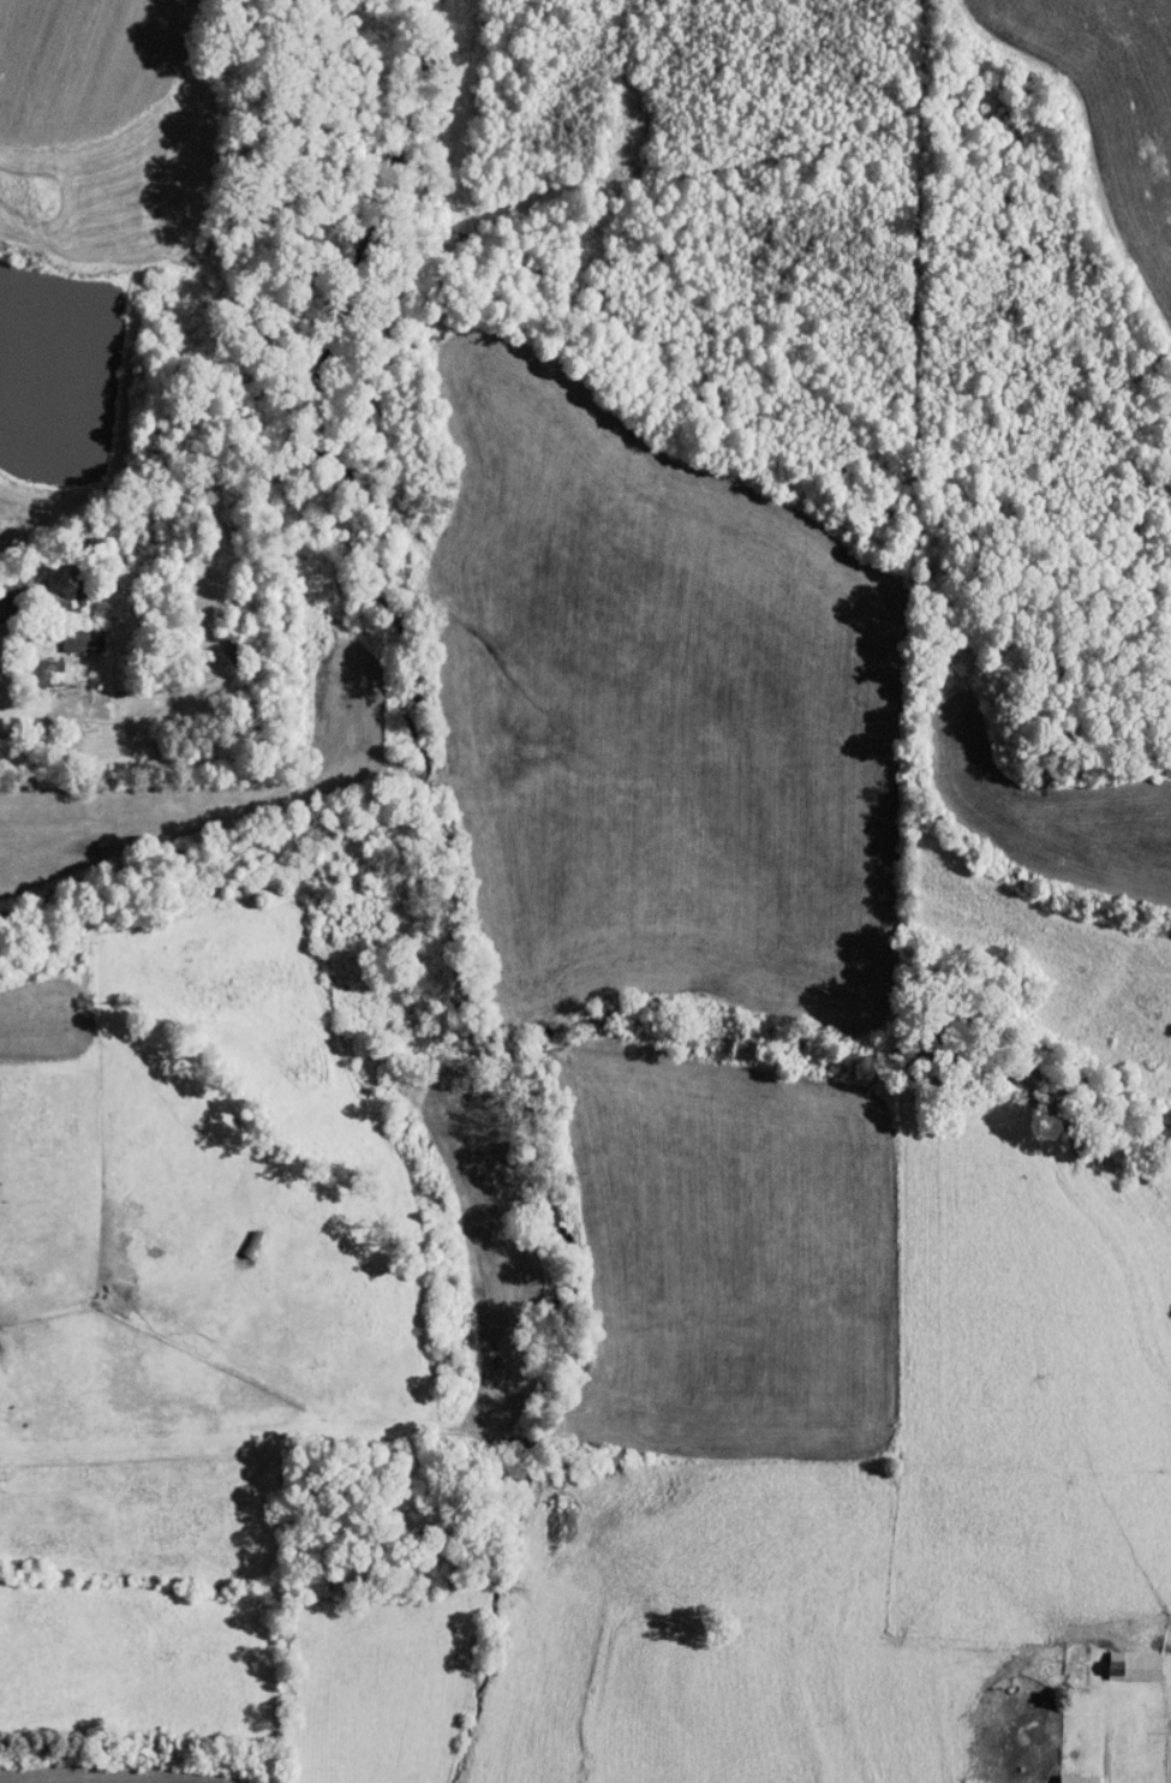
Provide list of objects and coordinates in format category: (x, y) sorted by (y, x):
building: (70, 632)
building: (35, 664)
building: (1123, 1657)
building: (1068, 1775)

